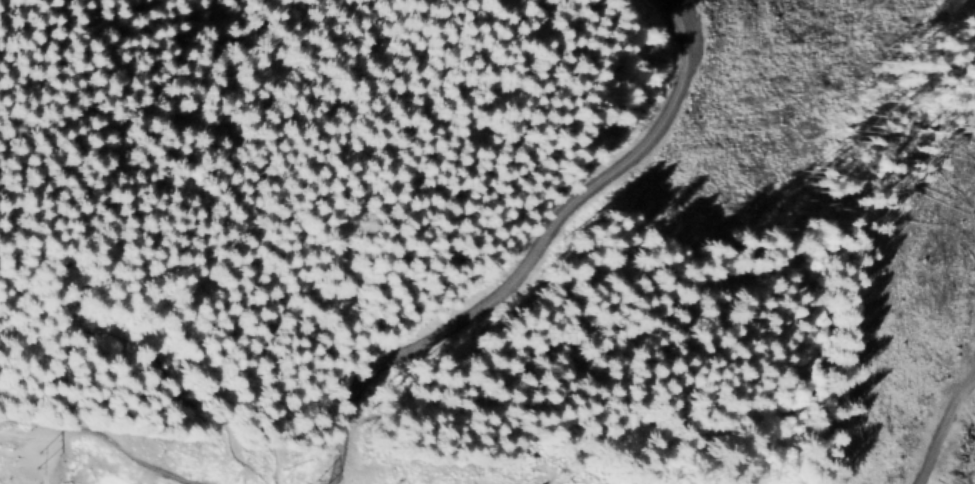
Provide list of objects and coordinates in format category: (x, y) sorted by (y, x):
power tower: (35, 461)

